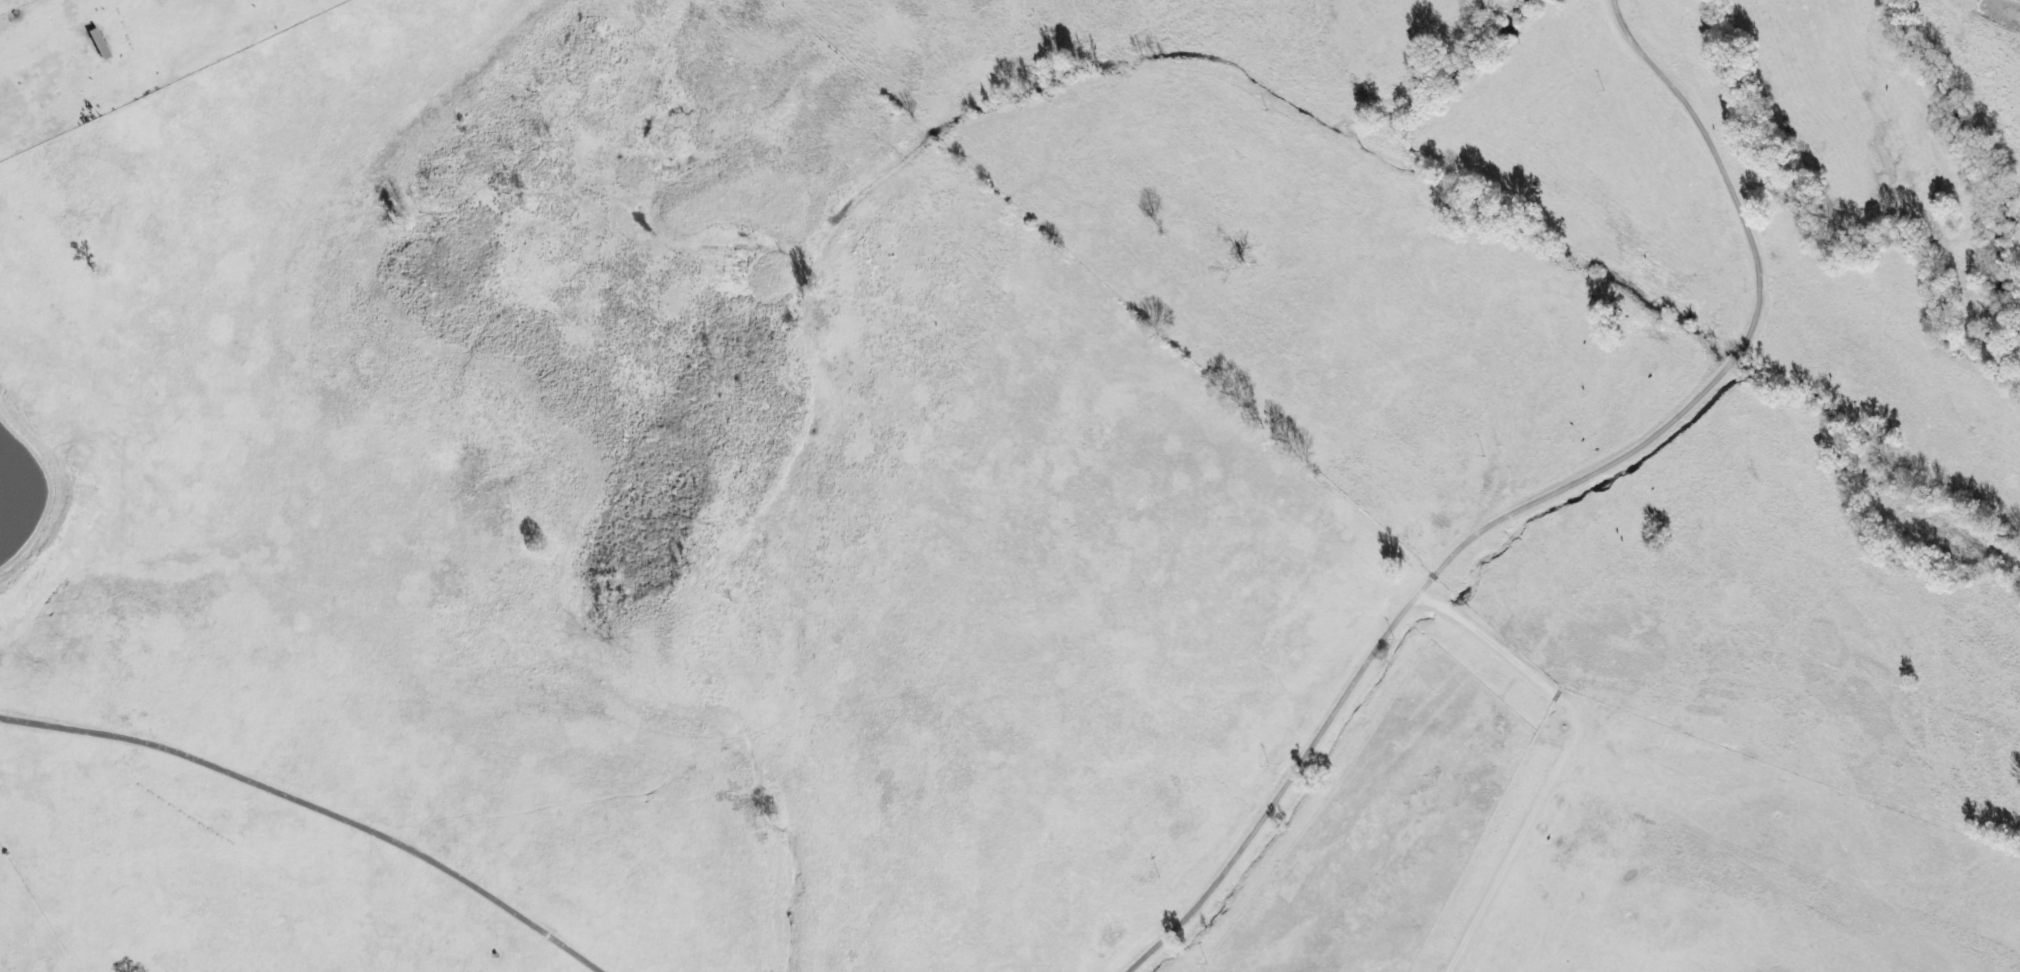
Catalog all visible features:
road: (1549, 501)
road: (313, 808)

